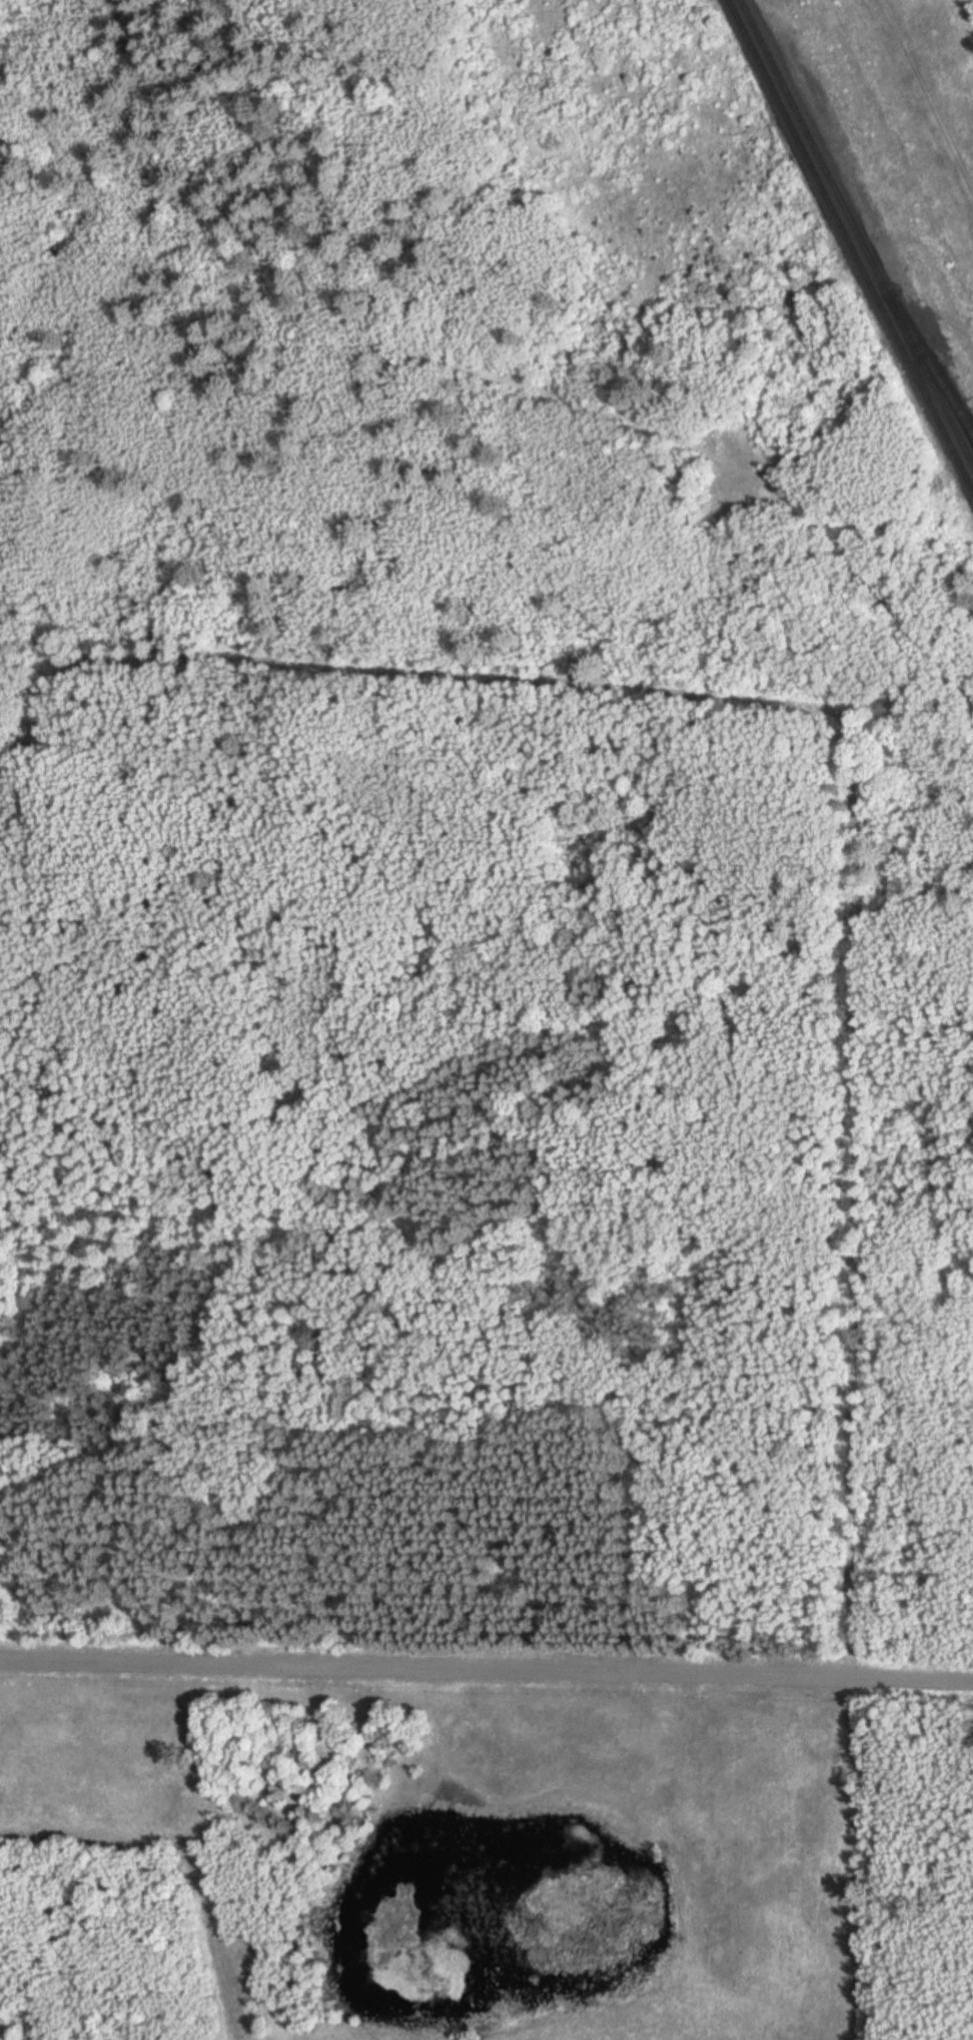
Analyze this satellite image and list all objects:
railway: (858, 229)
railway: (849, 247)
road: (486, 1670)

